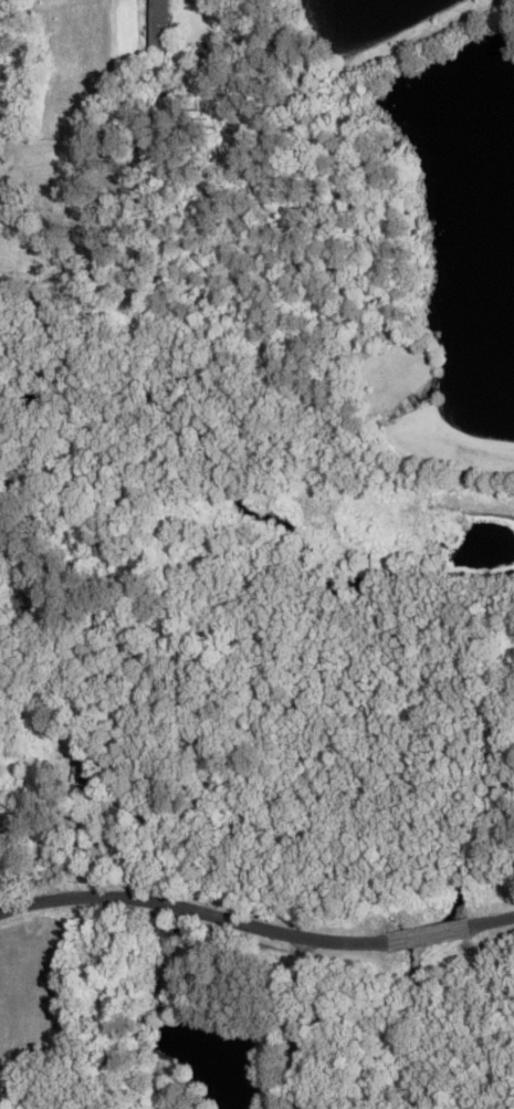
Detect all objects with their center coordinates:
building: (158, 28)
building: (80, 774)
road: (193, 910)
road: (490, 921)
road: (427, 935)
road: (291, 1024)

